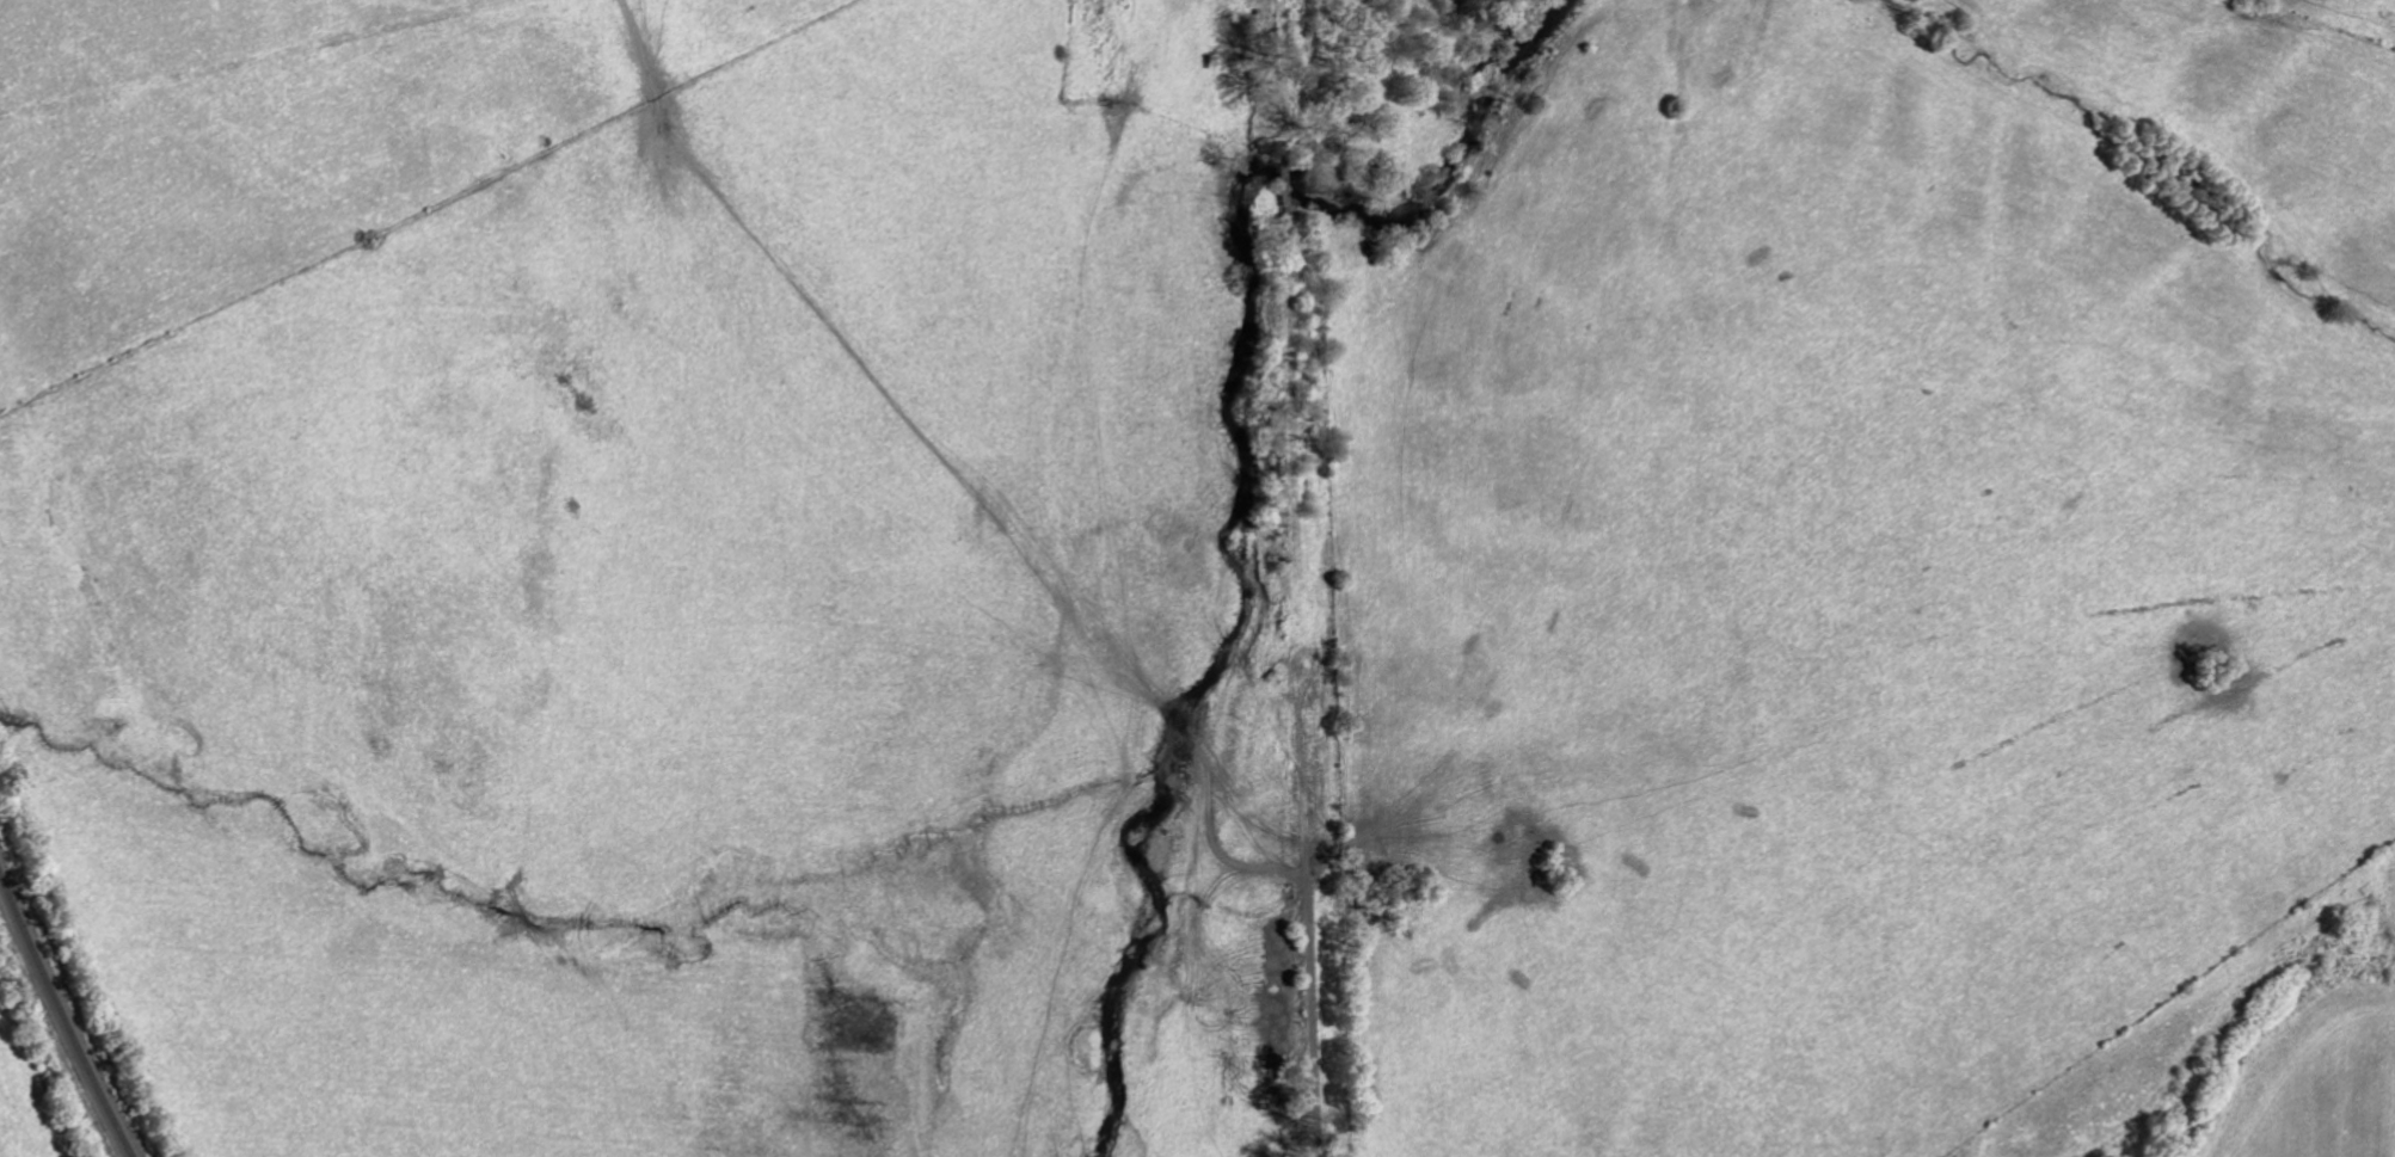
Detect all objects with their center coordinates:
railway: (60, 1023)

